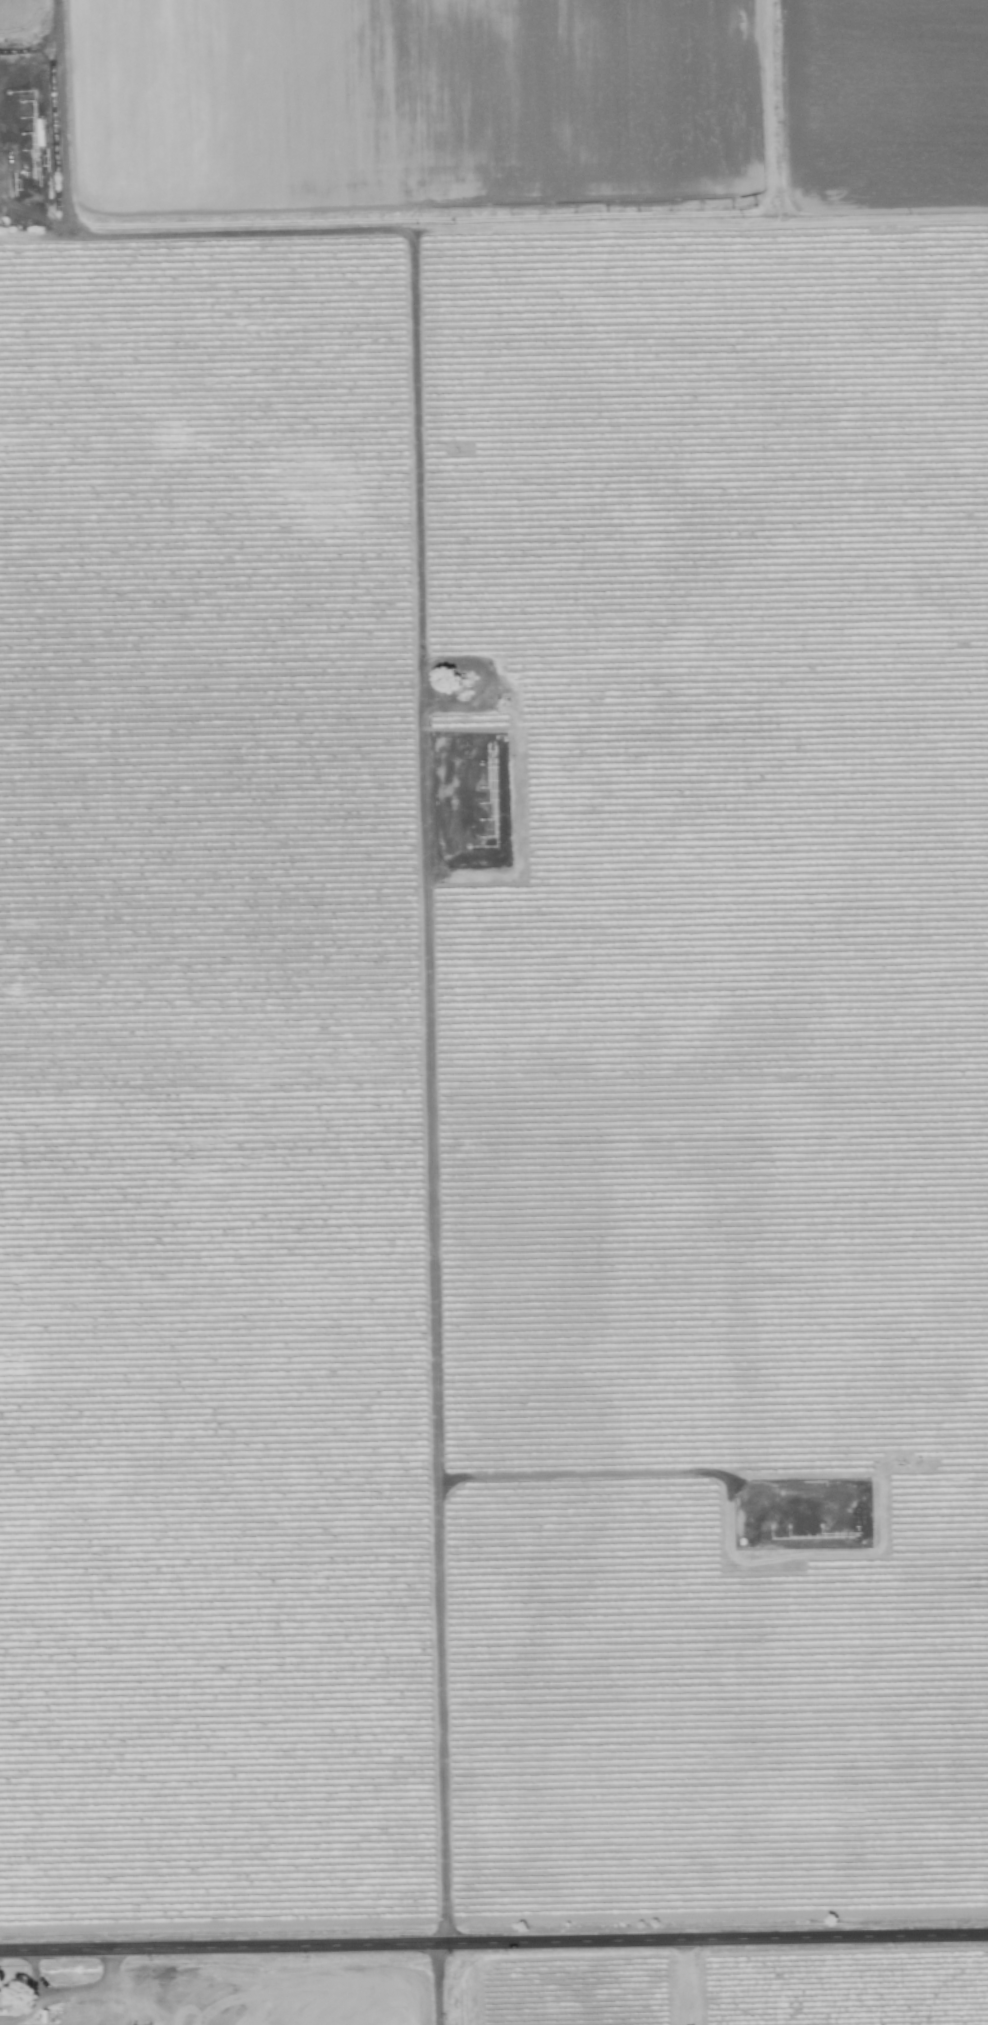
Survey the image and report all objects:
road: (62, 118)
road: (699, 223)
road: (426, 883)
road: (579, 1474)
road: (494, 1945)
road: (35, 1977)
road: (436, 1985)
road: (67, 1994)

